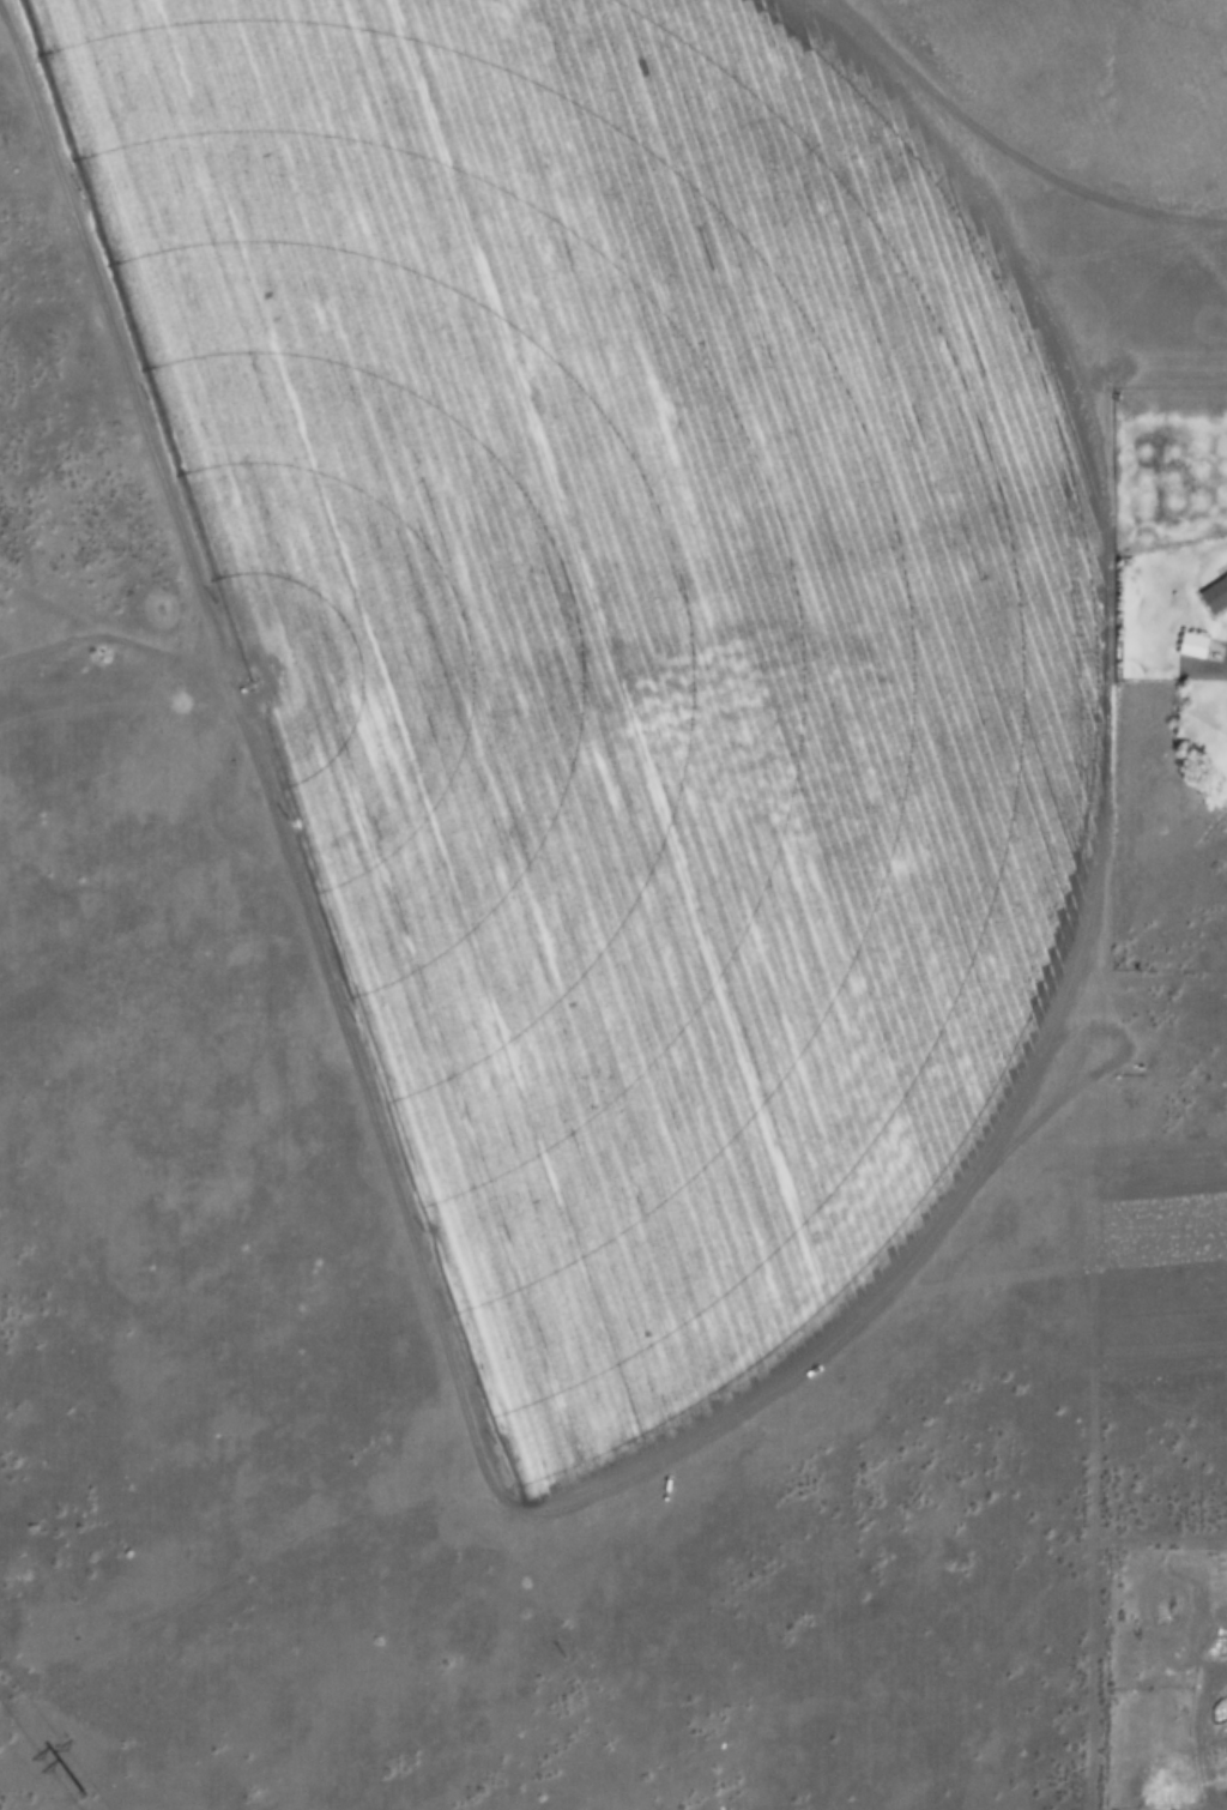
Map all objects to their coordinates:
building: (1214, 595)
building: (1190, 645)
power tower: (79, 1793)

